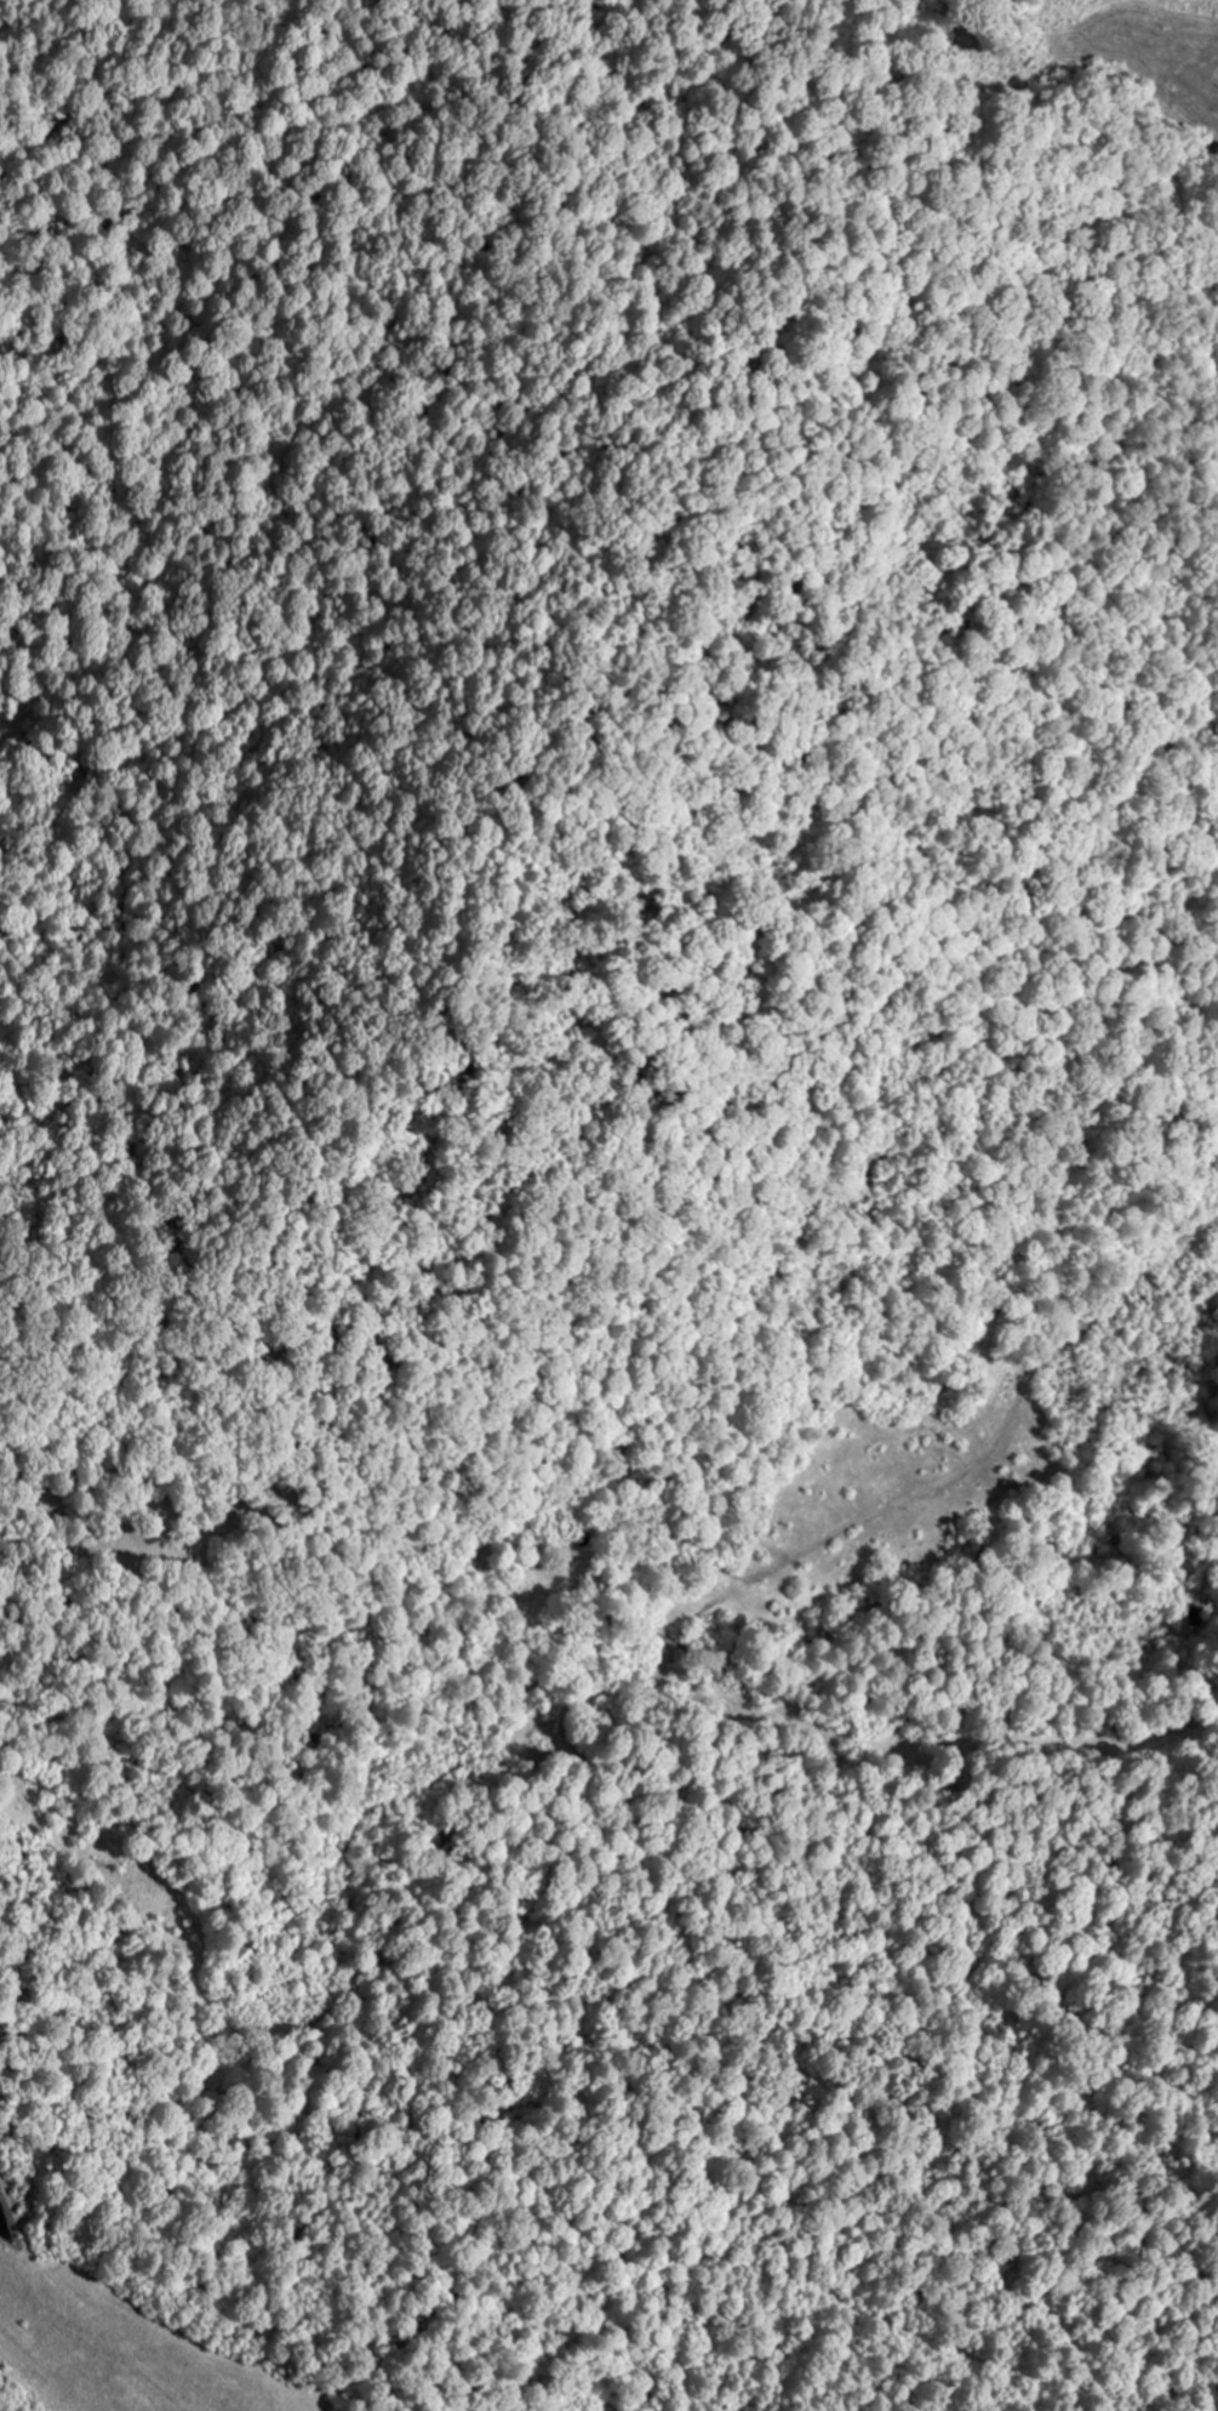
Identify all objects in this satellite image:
road: (1010, 1410)
road: (858, 1600)
road: (517, 2278)

